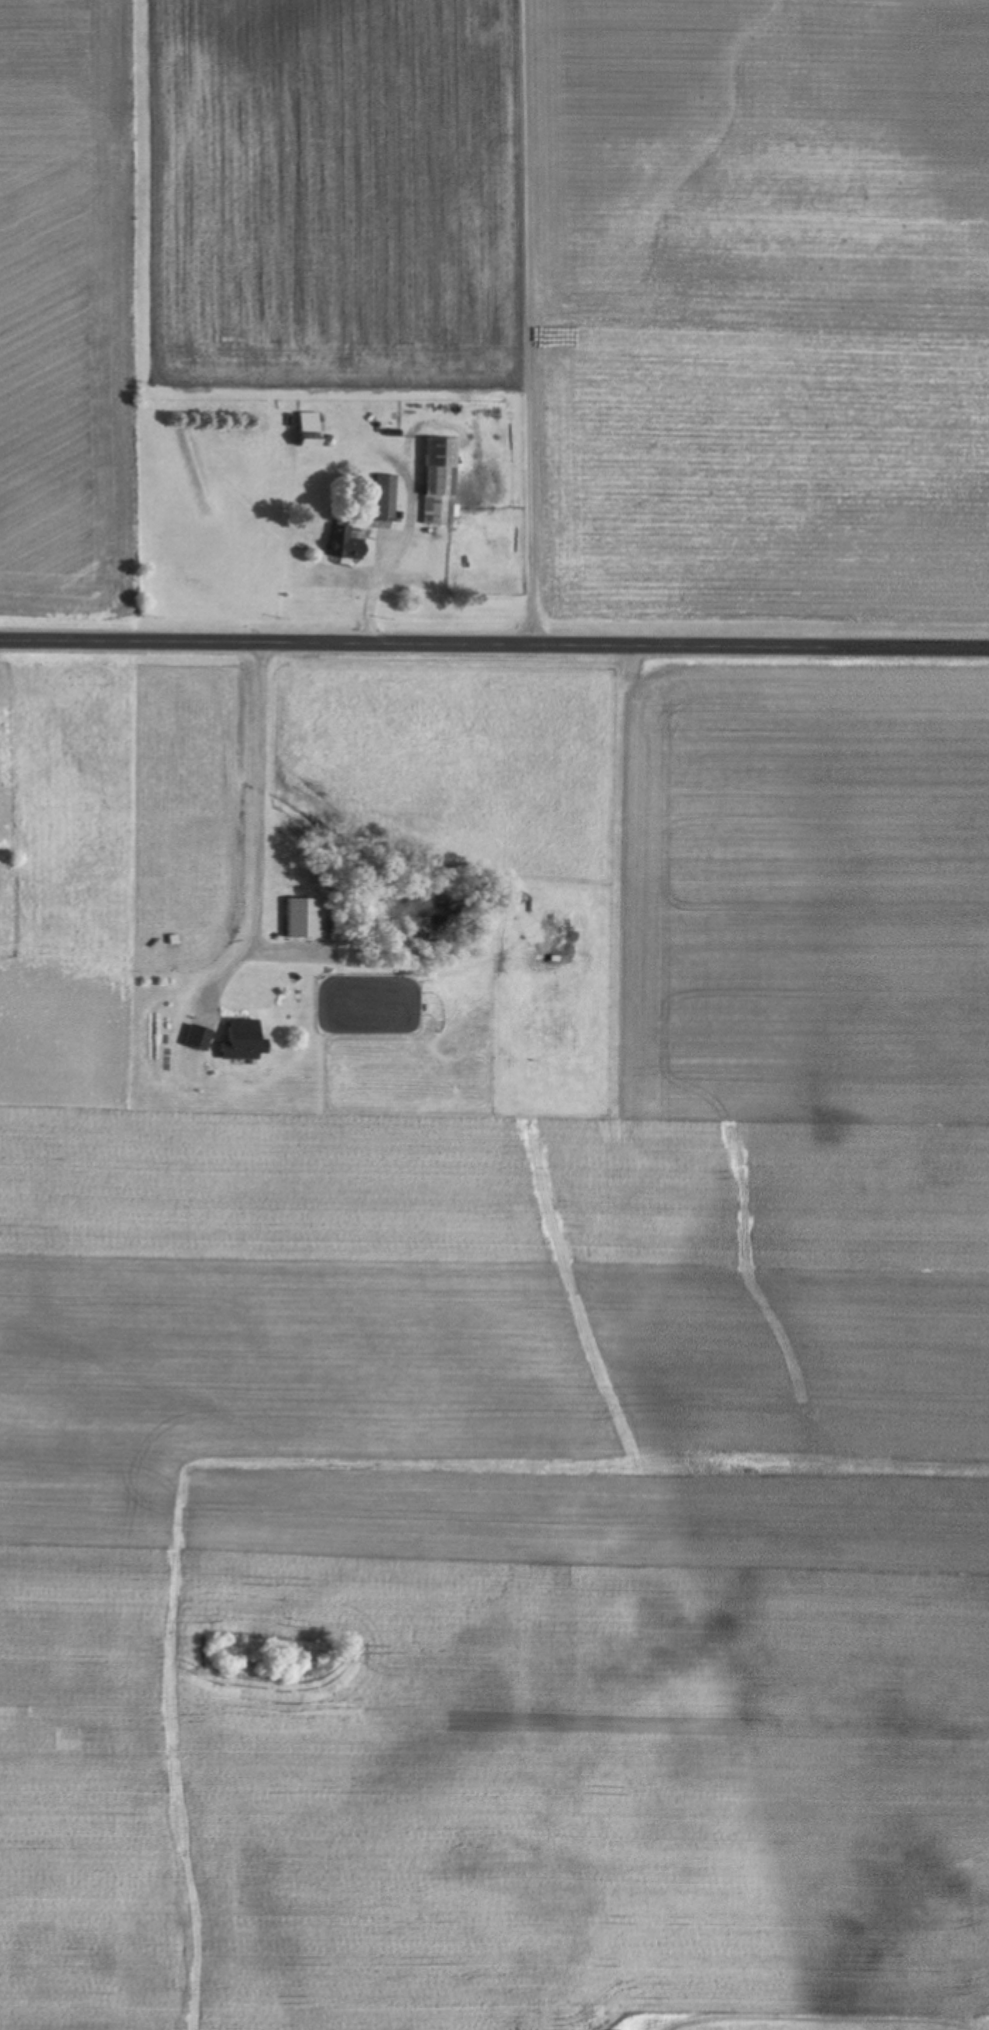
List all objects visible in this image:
building: (312, 425)
building: (443, 482)
building: (386, 498)
road: (494, 649)
building: (307, 919)
building: (249, 1040)

